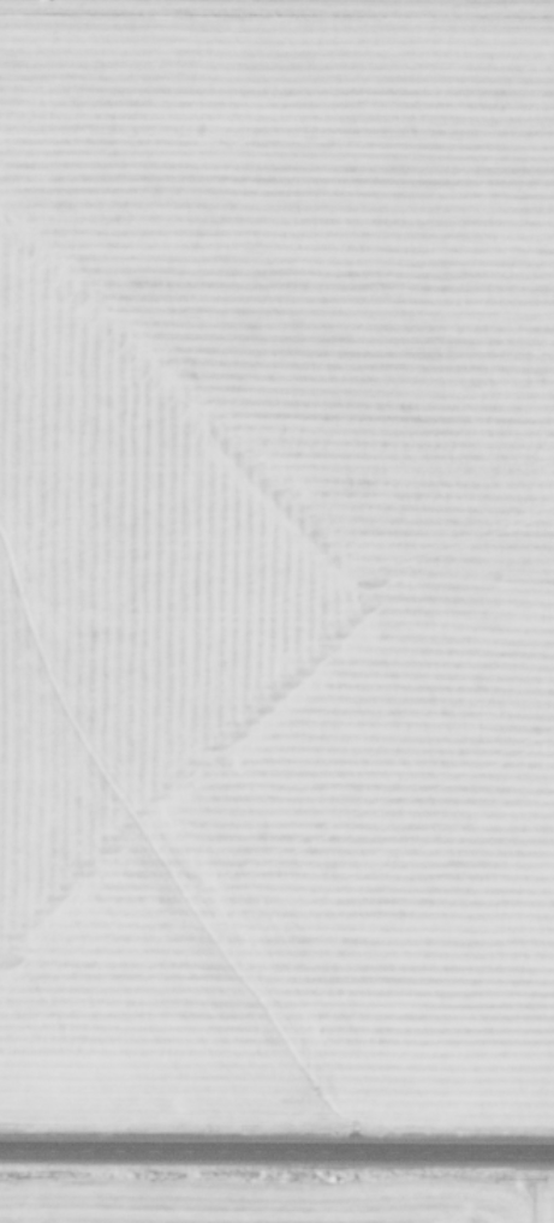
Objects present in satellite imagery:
road: (276, 1145)

